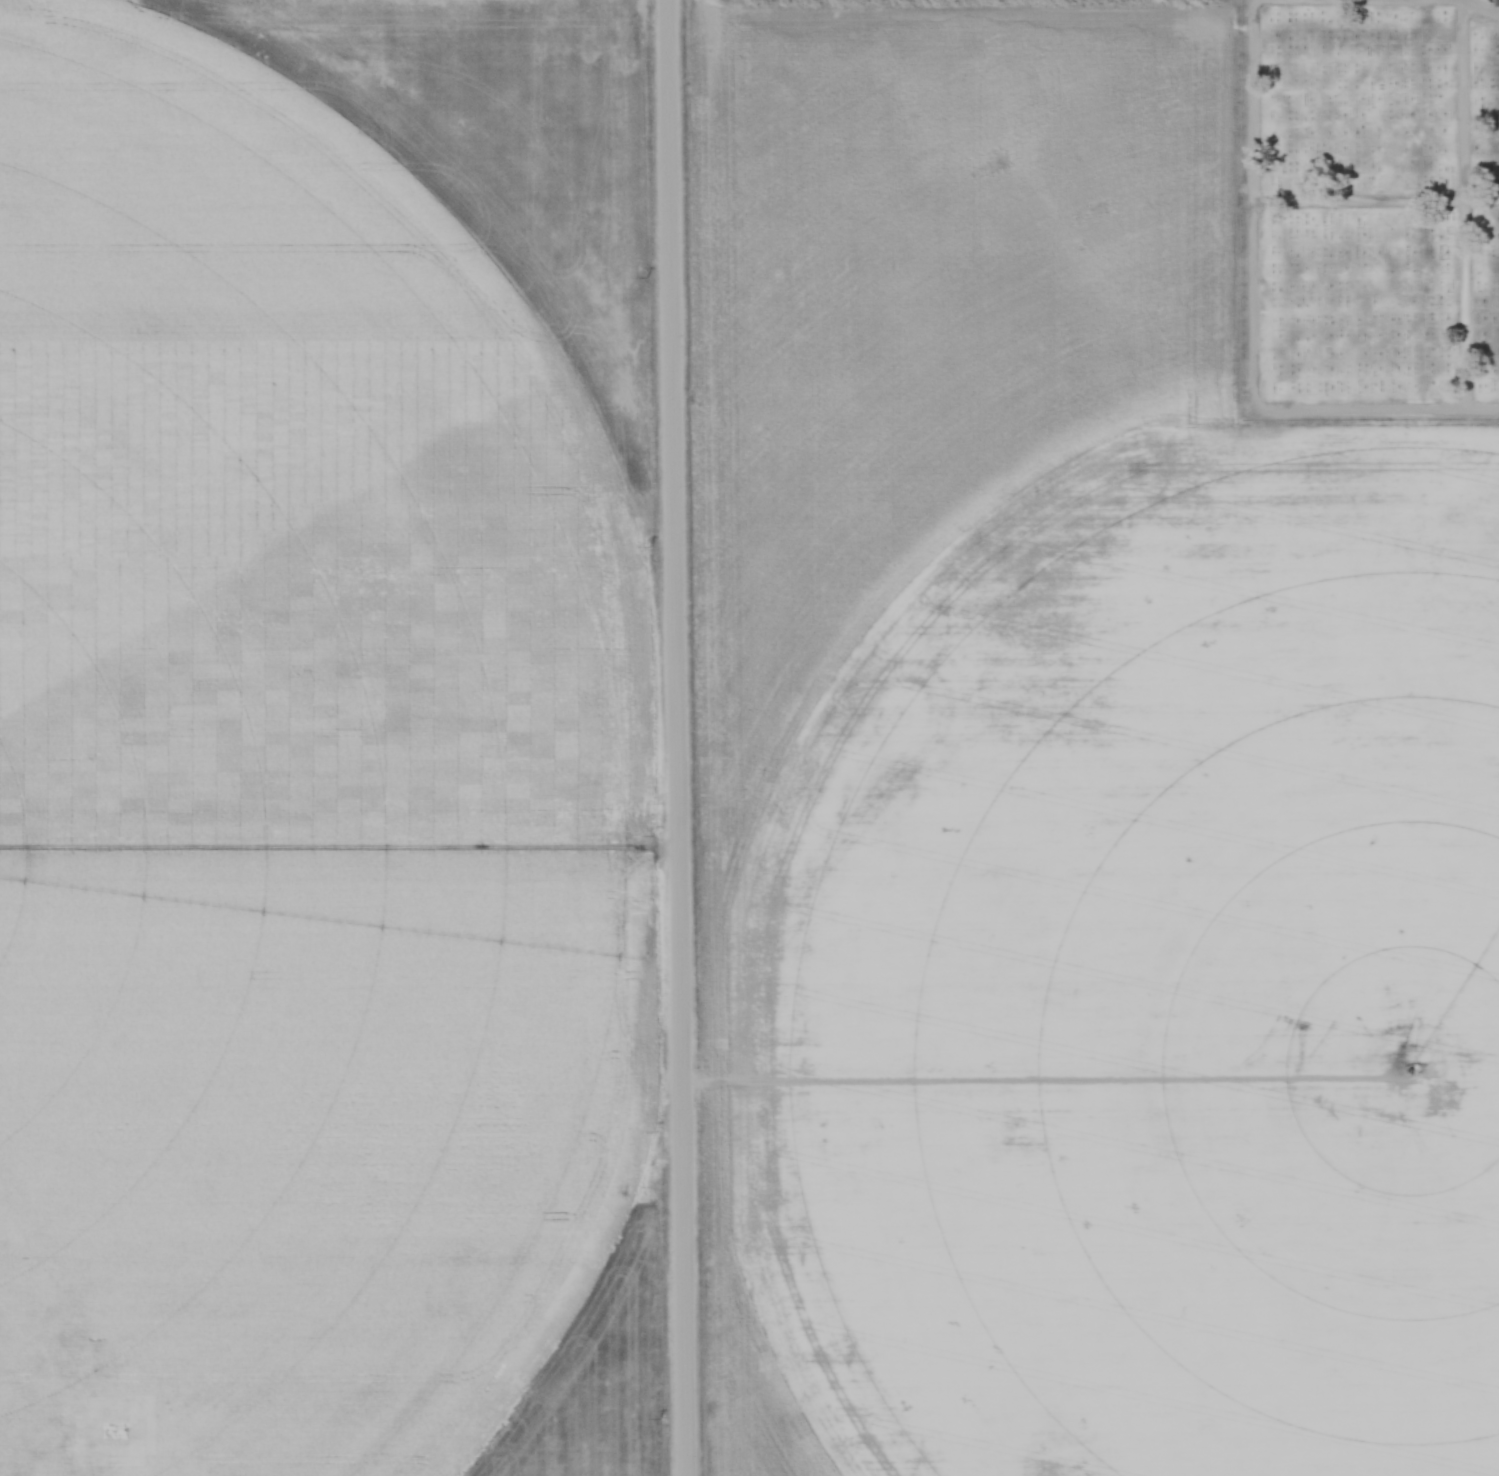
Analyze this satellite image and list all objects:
building: (1498, 3)
road: (1480, 13)
road: (1378, 199)
road: (1460, 205)
park: (1369, 212)
road: (1258, 323)
road: (678, 737)
building: (101, 1381)
building: (42, 1382)
road: (17, 1432)
building: (45, 1468)

